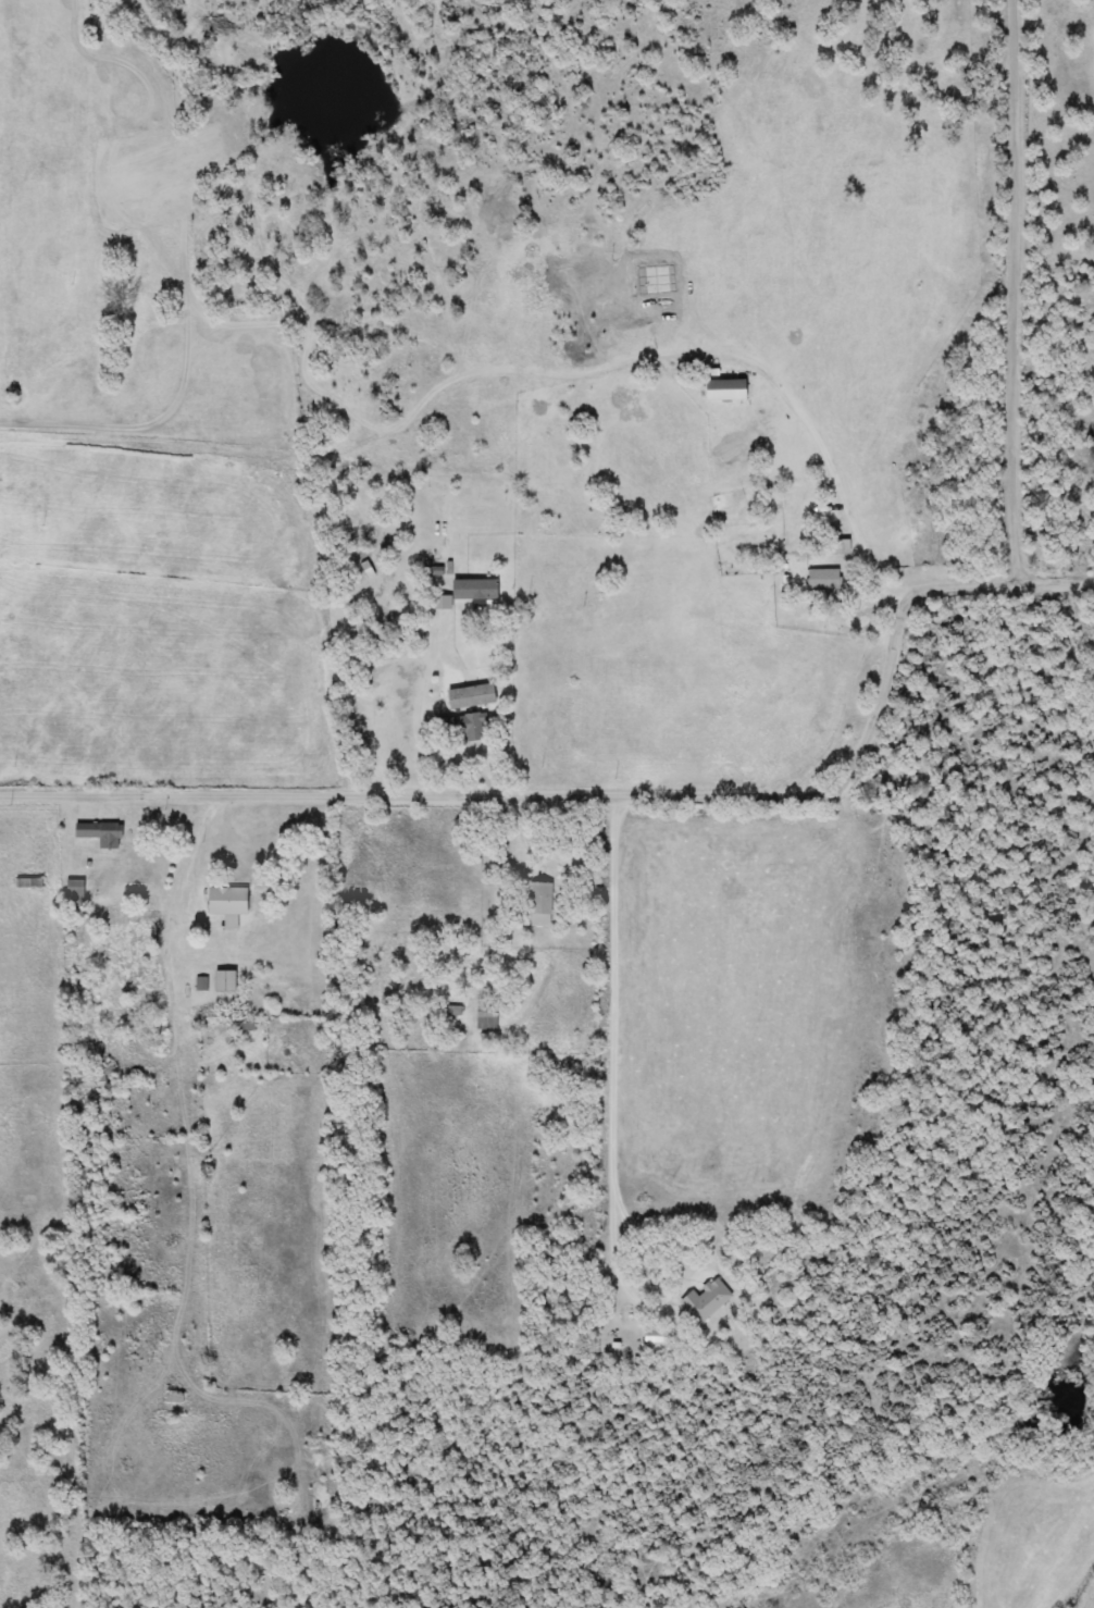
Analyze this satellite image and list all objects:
road: (1015, 289)
road: (767, 368)
building: (721, 391)
building: (736, 484)
building: (793, 520)
building: (823, 583)
building: (473, 590)
road: (423, 698)
building: (462, 727)
road: (618, 792)
building: (99, 833)
building: (27, 883)
building: (74, 888)
building: (539, 902)
building: (226, 905)
road: (173, 917)
building: (224, 981)
building: (485, 1019)
building: (99, 1075)
road: (614, 1142)
building: (705, 1300)
building: (172, 1398)

